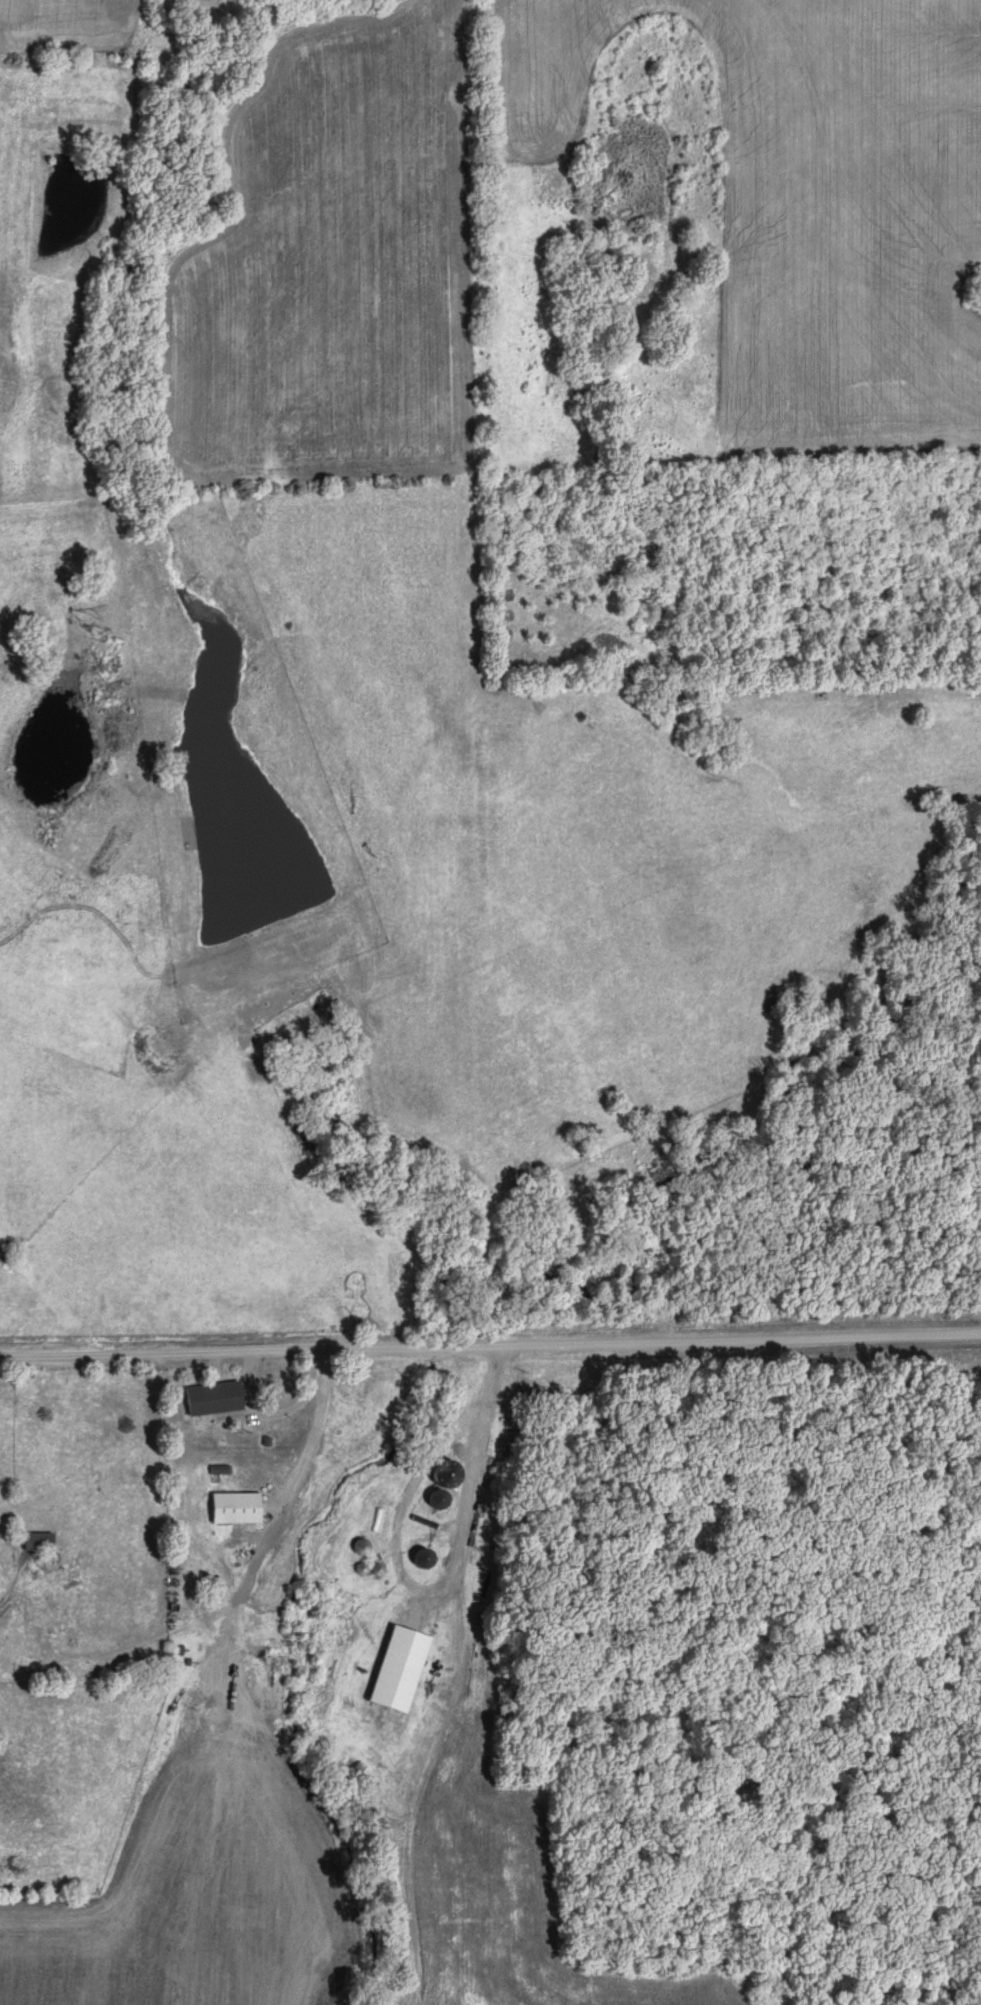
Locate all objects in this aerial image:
road: (490, 1344)
building: (215, 1399)
building: (441, 1499)
building: (238, 1508)
building: (39, 1542)
building: (364, 1547)
building: (427, 1559)

